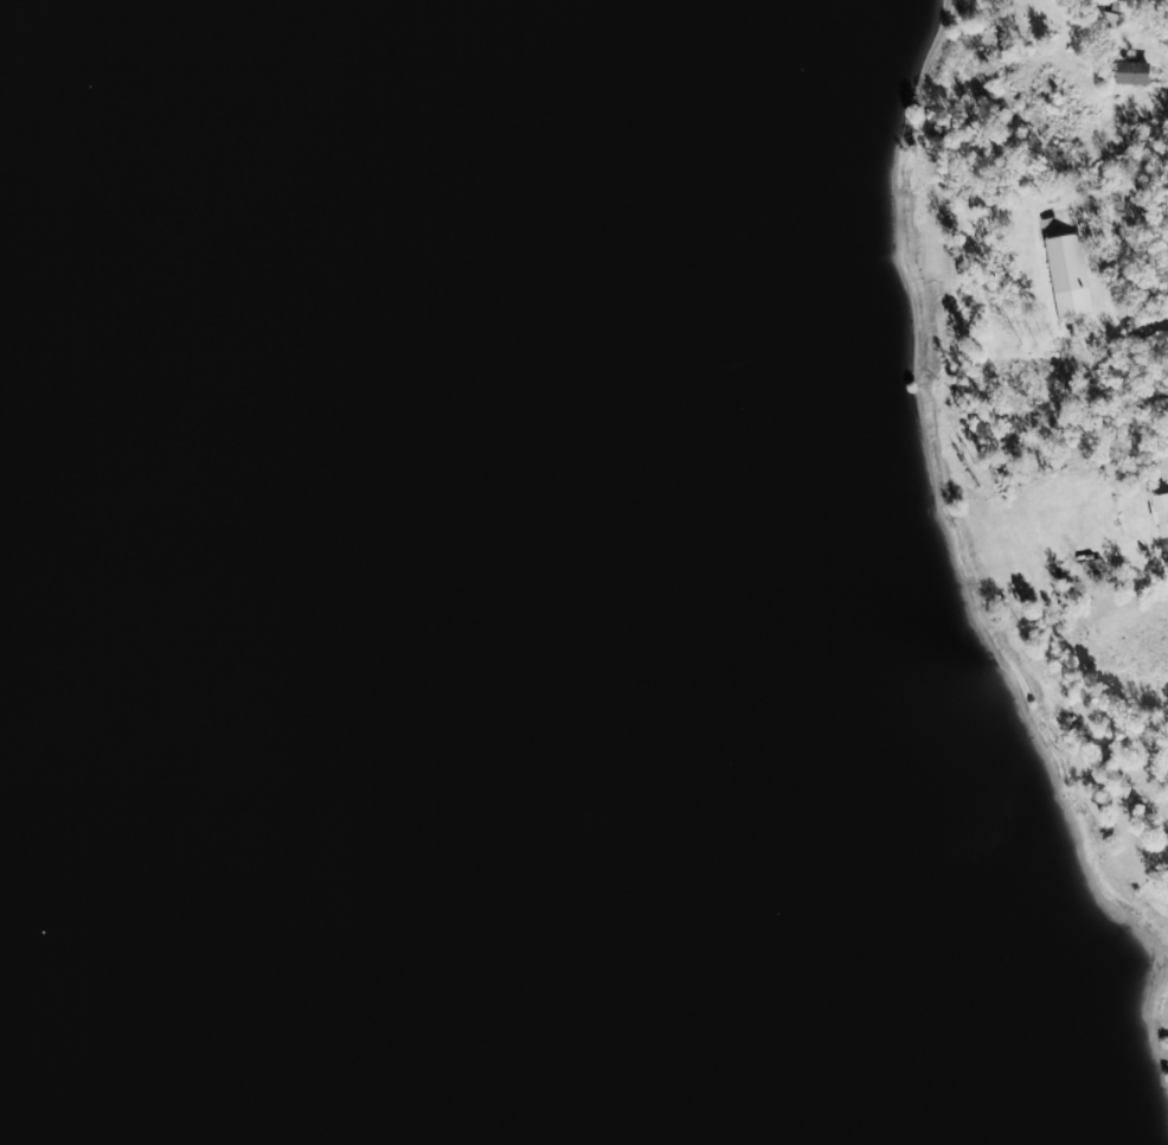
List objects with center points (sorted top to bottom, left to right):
building: (1129, 73)
building: (1068, 280)
building: (1159, 517)

